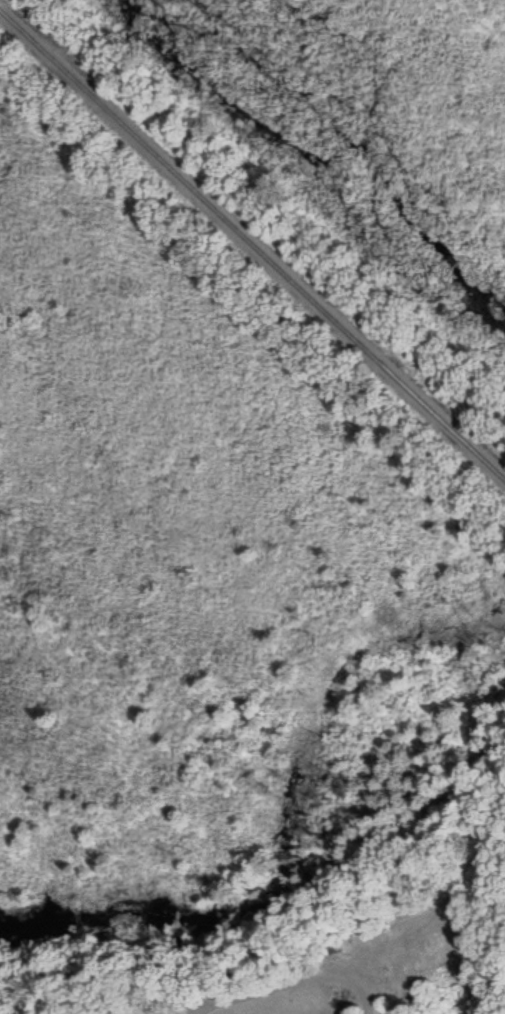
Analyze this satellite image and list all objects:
railway: (252, 243)
road: (278, 985)
building: (122, 1009)

